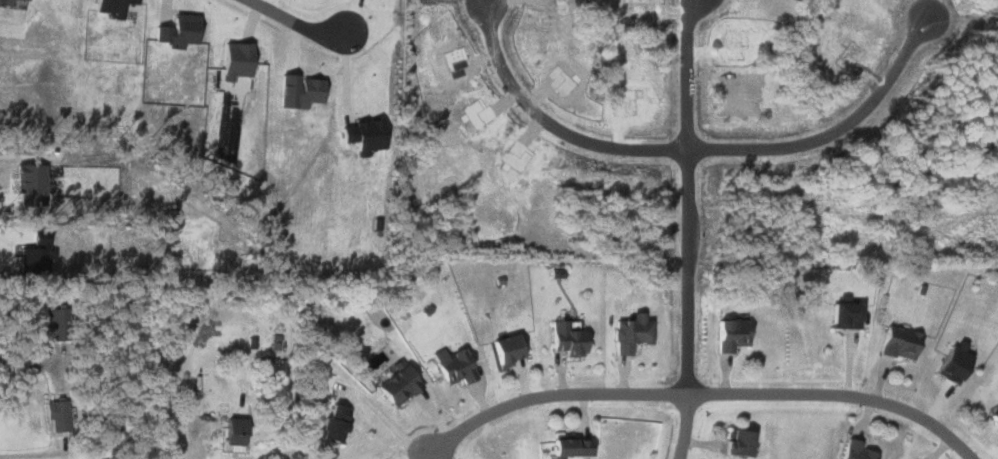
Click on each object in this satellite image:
building: (108, 7)
road: (288, 18)
building: (176, 30)
building: (233, 60)
building: (296, 91)
road: (550, 124)
road: (834, 132)
building: (27, 184)
road: (687, 196)
building: (841, 315)
building: (52, 322)
building: (629, 333)
building: (729, 335)
building: (565, 338)
building: (896, 343)
building: (503, 350)
road: (31, 360)
building: (947, 364)
building: (451, 365)
building: (395, 385)
road: (702, 392)
building: (54, 415)
road: (384, 417)
building: (993, 420)
building: (330, 425)
building: (232, 426)
road: (681, 426)
road: (195, 434)
building: (734, 443)
building: (564, 446)
building: (854, 451)
road: (429, 455)

